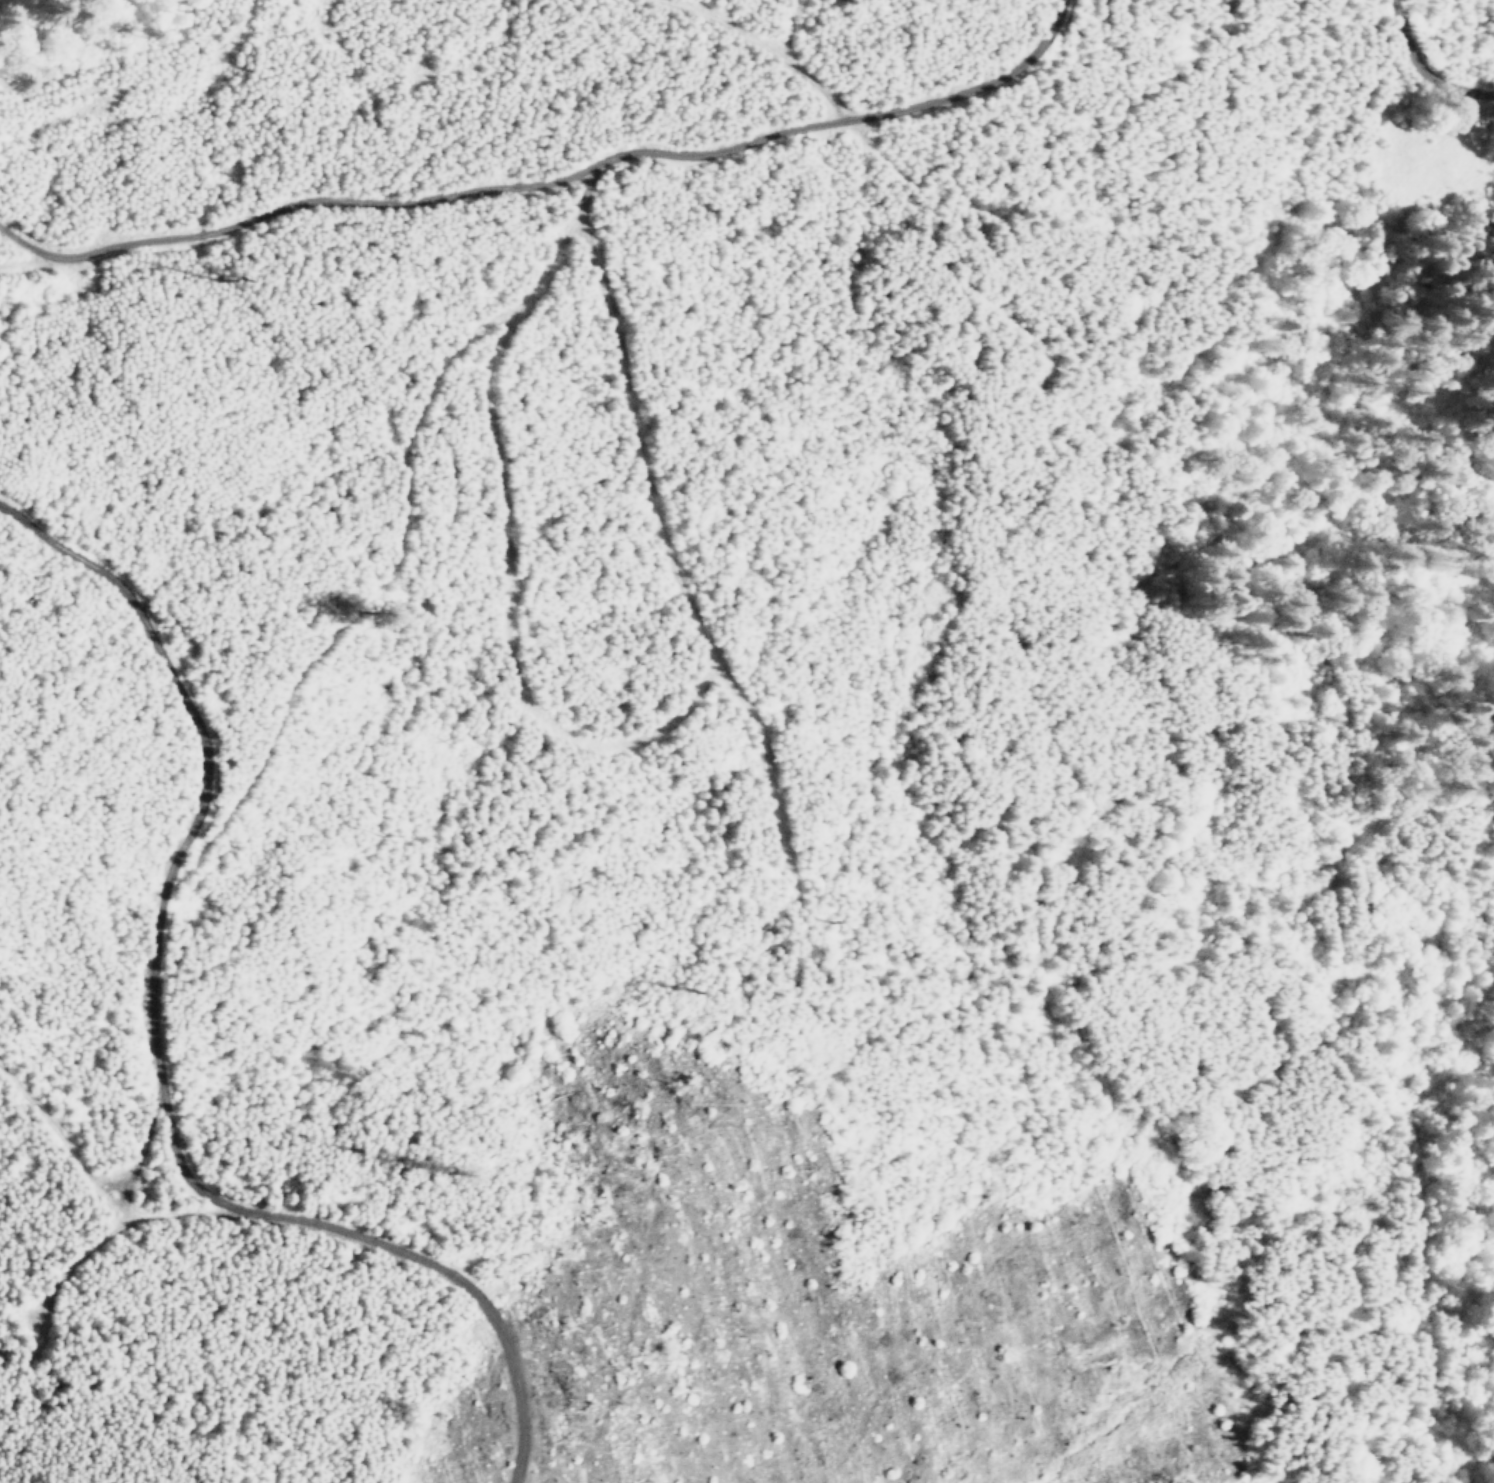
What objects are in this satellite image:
road: (766, 63)
road: (1422, 64)
road: (555, 178)
road: (155, 1058)

